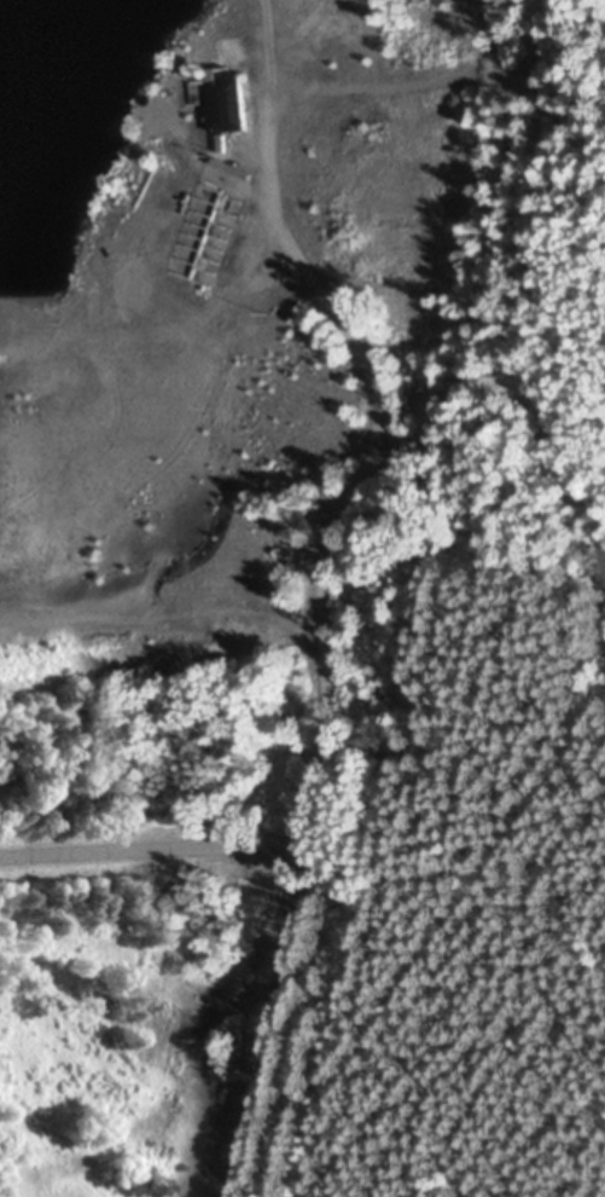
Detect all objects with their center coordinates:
building: (225, 104)
road: (379, 433)
road: (290, 890)

